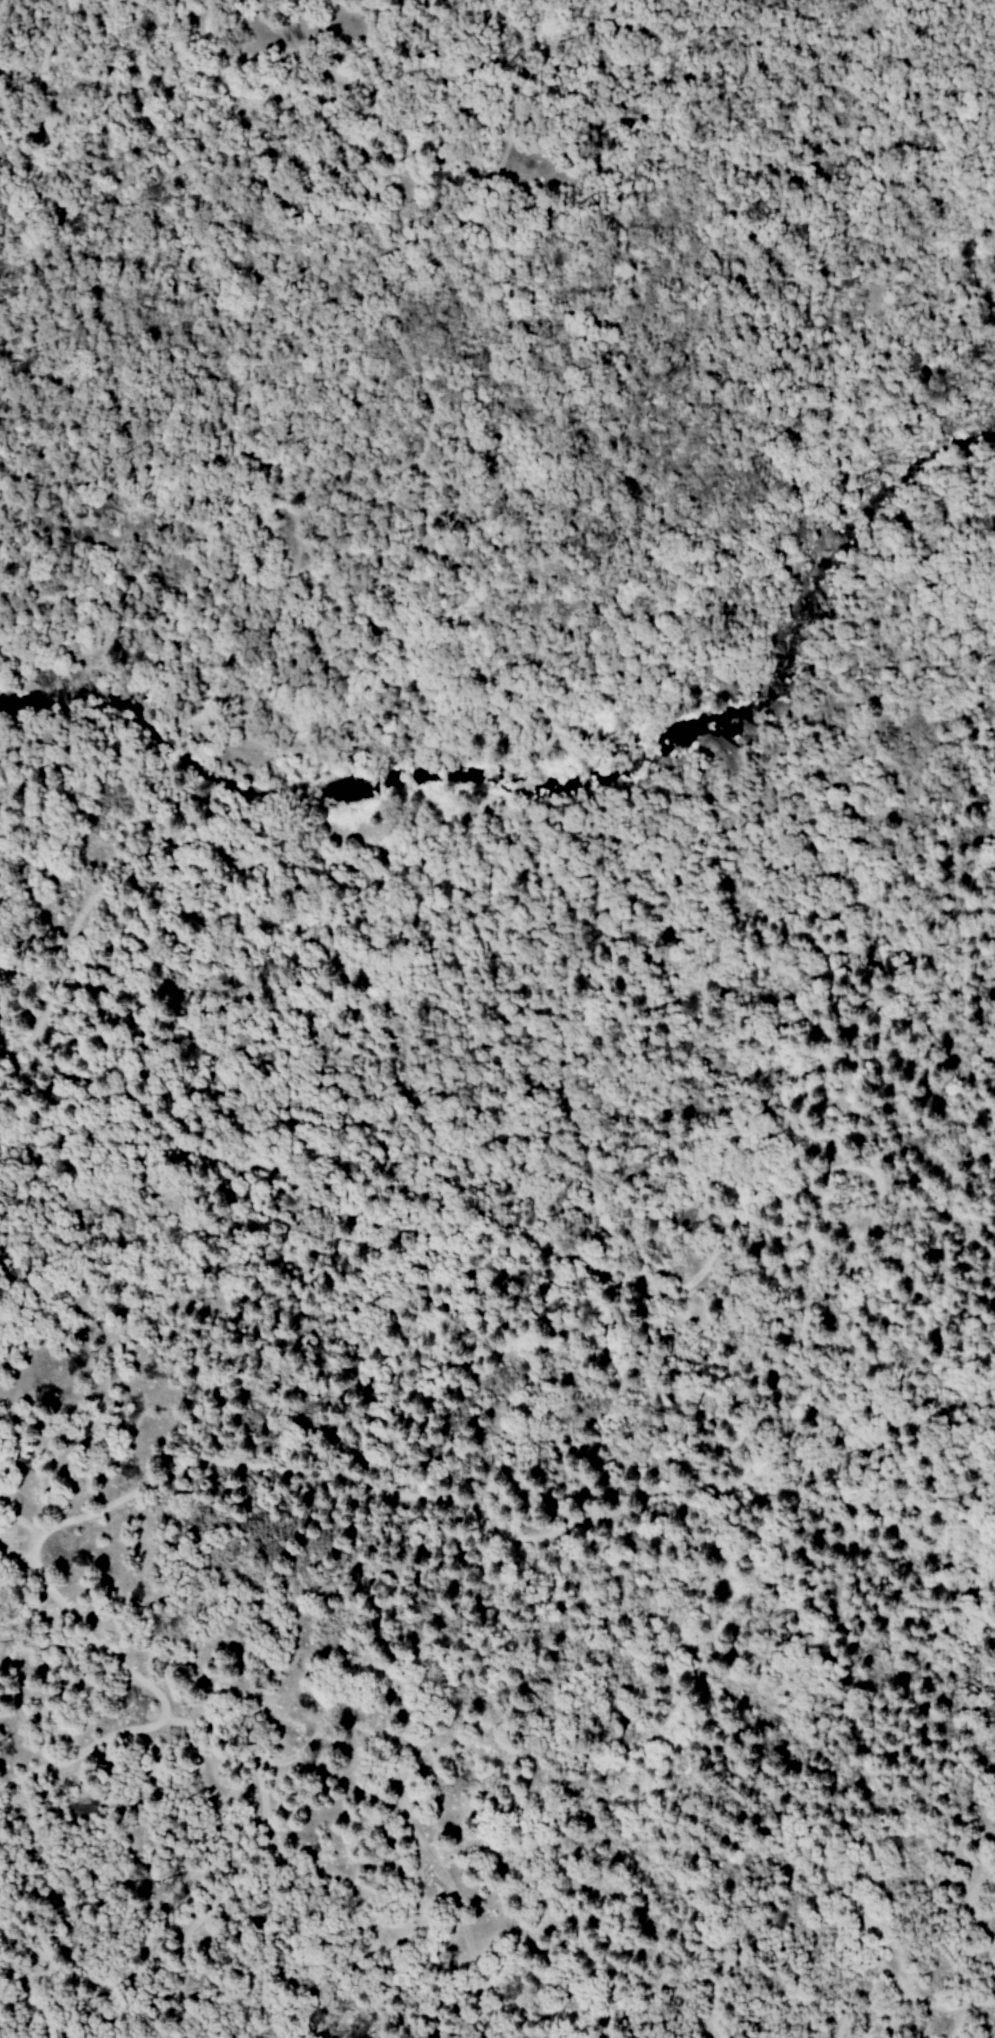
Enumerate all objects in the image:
river: (537, 797)

